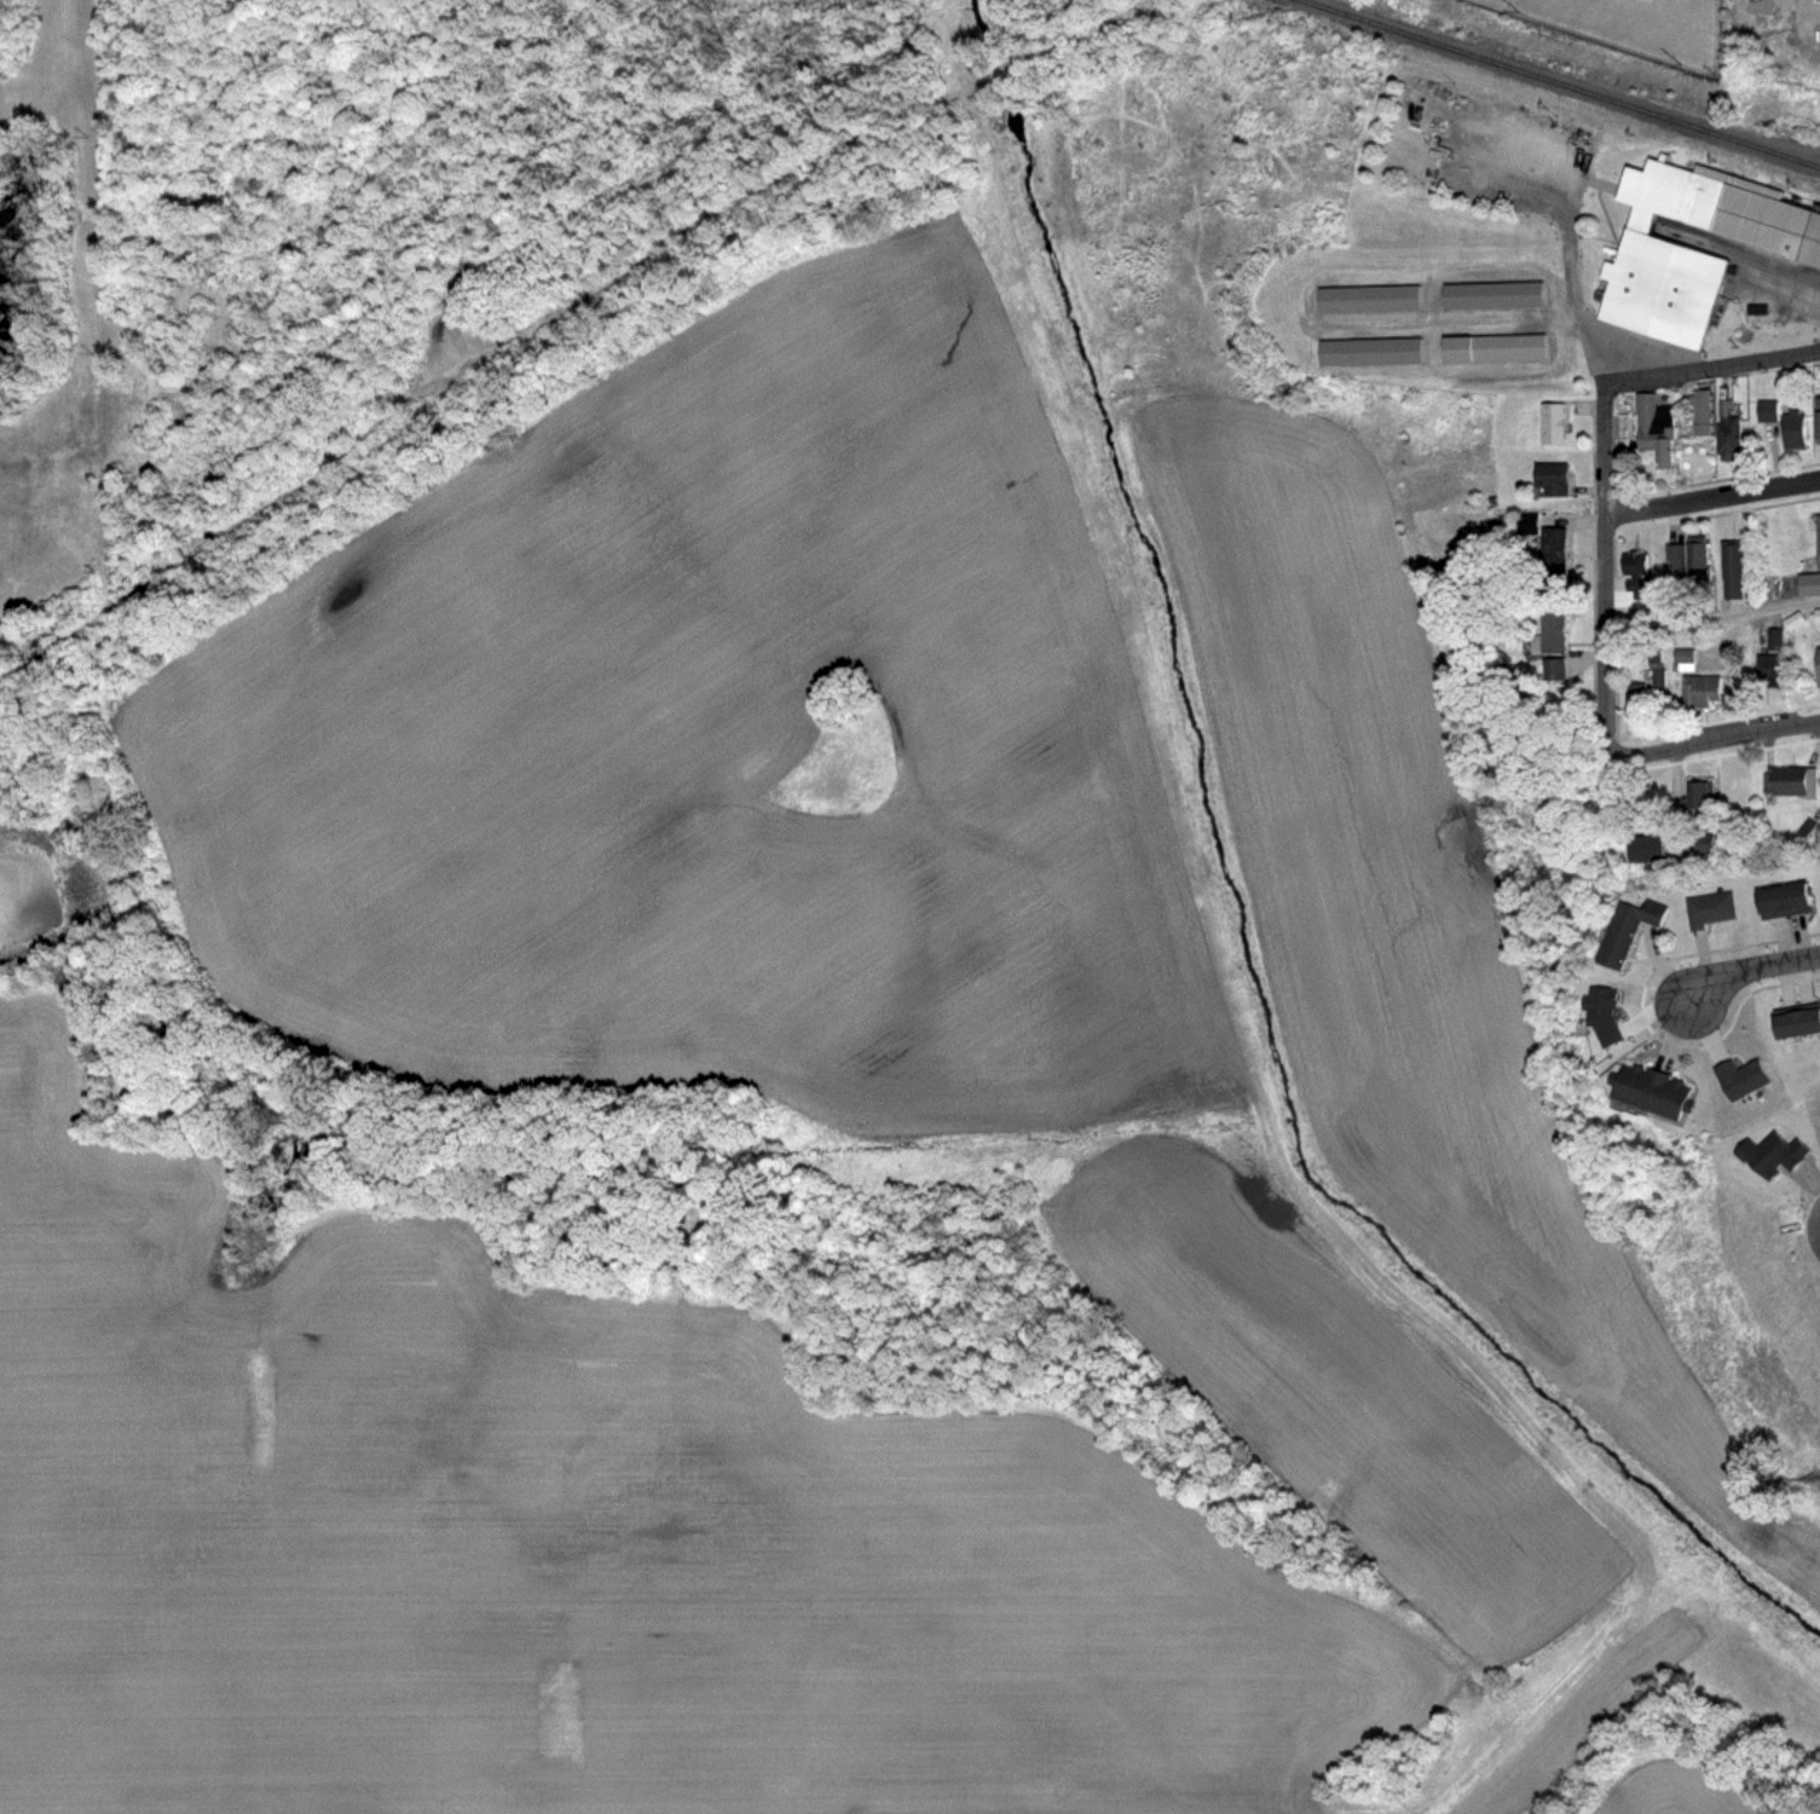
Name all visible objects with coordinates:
railway: (1559, 83)
building: (1649, 250)
road: (1786, 272)
building: (1491, 294)
building: (1368, 299)
road: (1483, 319)
building: (1493, 348)
building: (1370, 353)
road: (1705, 362)
building: (1701, 405)
building: (1769, 410)
building: (1819, 420)
building: (1555, 423)
building: (1657, 426)
building: (1796, 431)
building: (1731, 438)
building: (1554, 478)
road: (1711, 493)
building: (1819, 541)
building: (1556, 554)
building: (1699, 554)
building: (1677, 560)
building: (1733, 567)
building: (1636, 571)
road: (1605, 579)
building: (1809, 584)
building: (1818, 614)
road: (1712, 620)
building: (1555, 630)
building: (1773, 639)
building: (1687, 659)
building: (1770, 666)
building: (1819, 666)
building: (1556, 670)
building: (1703, 688)
building: (1639, 697)
road: (1724, 735)
building: (1792, 780)
building: (1700, 798)
building: (1701, 842)
building: (1646, 849)
crop: (1017, 901)
building: (1785, 901)
building: (1710, 908)
building: (1629, 931)
road: (1751, 969)
building: (1798, 1024)
building: (1741, 1079)
building: (1657, 1090)
building: (1770, 1152)
crop: (588, 1548)
crop: (1660, 1792)

